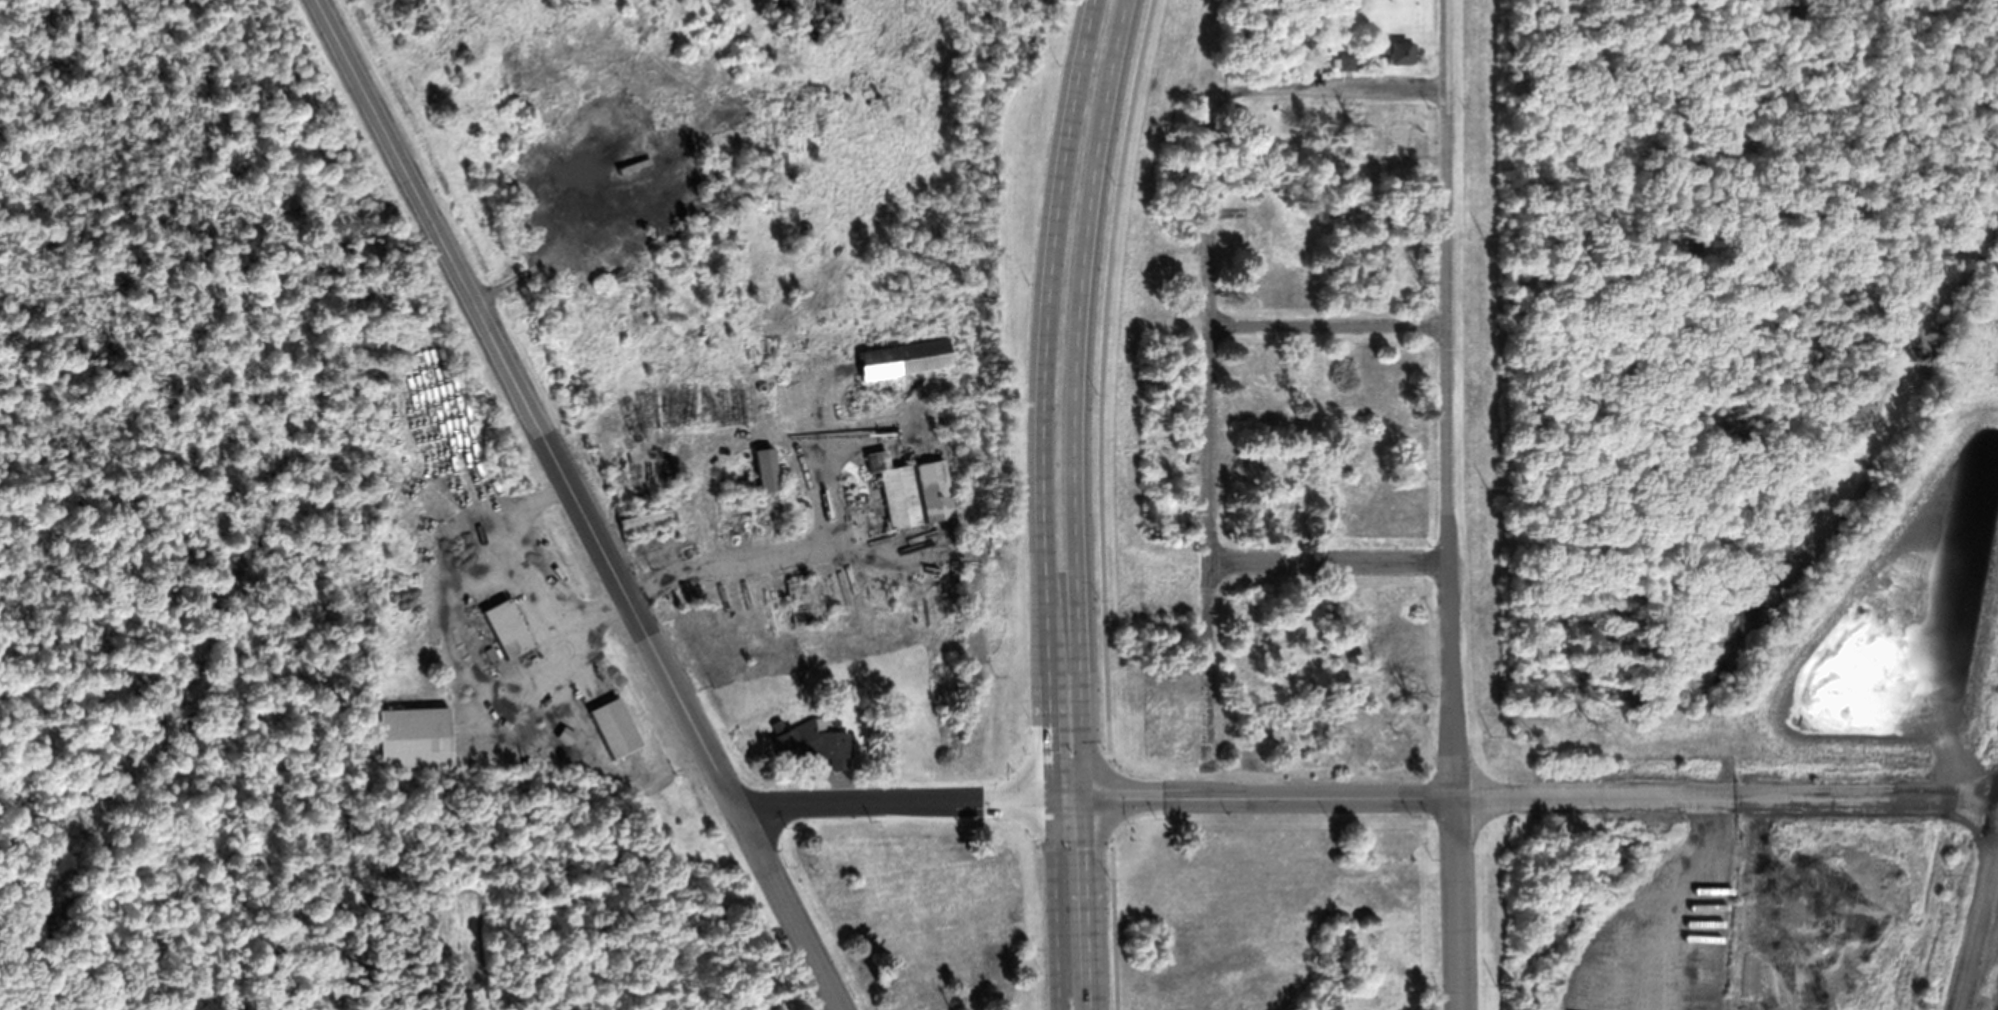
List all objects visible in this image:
building: (1401, 52)
building: (1347, 61)
road: (1330, 89)
building: (1399, 134)
building: (1379, 160)
building: (587, 161)
building: (678, 164)
building: (1262, 222)
building: (1313, 274)
building: (1266, 278)
building: (1297, 279)
road: (1327, 330)
building: (921, 352)
building: (1406, 363)
building: (1371, 375)
road: (528, 401)
building: (1265, 404)
road: (1208, 427)
building: (1294, 483)
building: (767, 485)
building: (1316, 489)
building: (912, 490)
road: (1042, 503)
road: (1073, 503)
road: (1102, 503)
road: (1451, 505)
building: (1277, 510)
road: (1331, 562)
building: (805, 601)
building: (1320, 625)
building: (505, 627)
building: (1264, 651)
building: (1299, 683)
building: (613, 727)
building: (412, 736)
building: (812, 743)
railway: (1954, 783)
road: (1268, 794)
road: (910, 797)
road: (1726, 797)
traffic signals: (1052, 798)
traffic signals: (1083, 798)
building: (1373, 828)
building: (1399, 842)
building: (1331, 862)
building: (1345, 871)
building: (1389, 886)
road: (789, 906)
road: (1975, 917)
building: (1392, 956)

